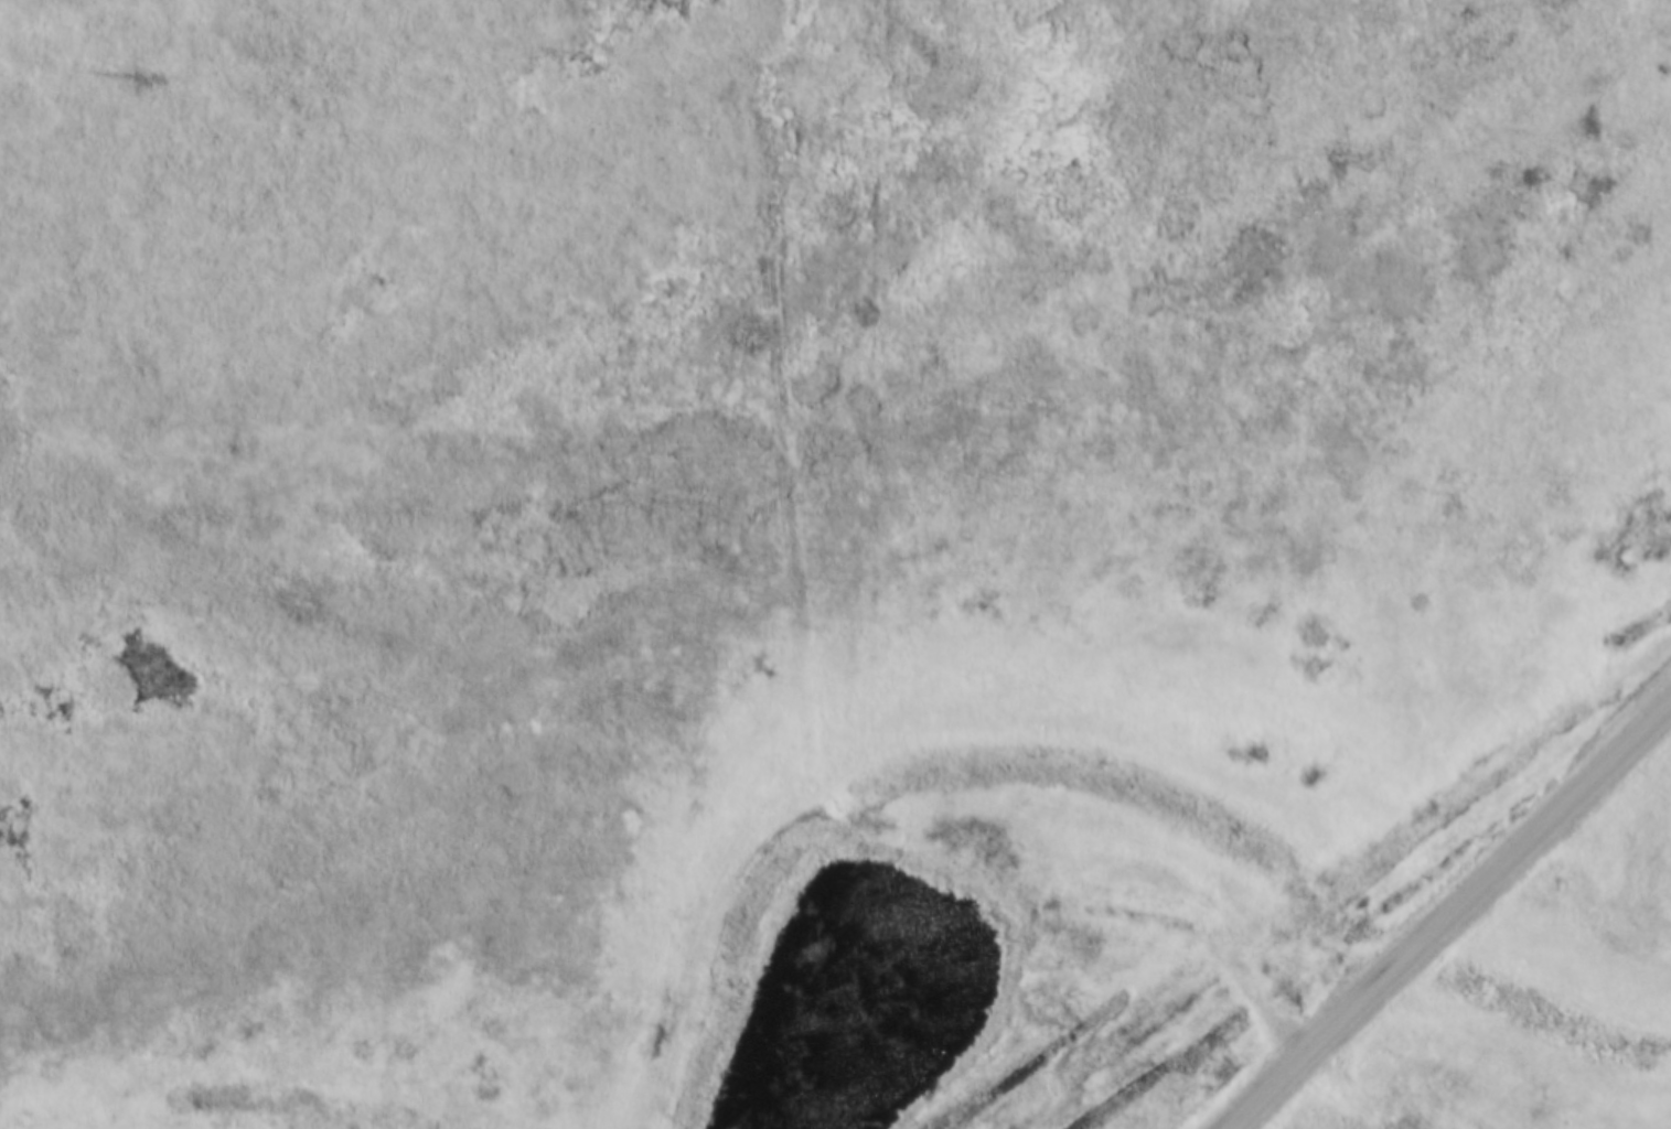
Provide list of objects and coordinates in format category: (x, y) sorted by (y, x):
road: (1448, 914)

